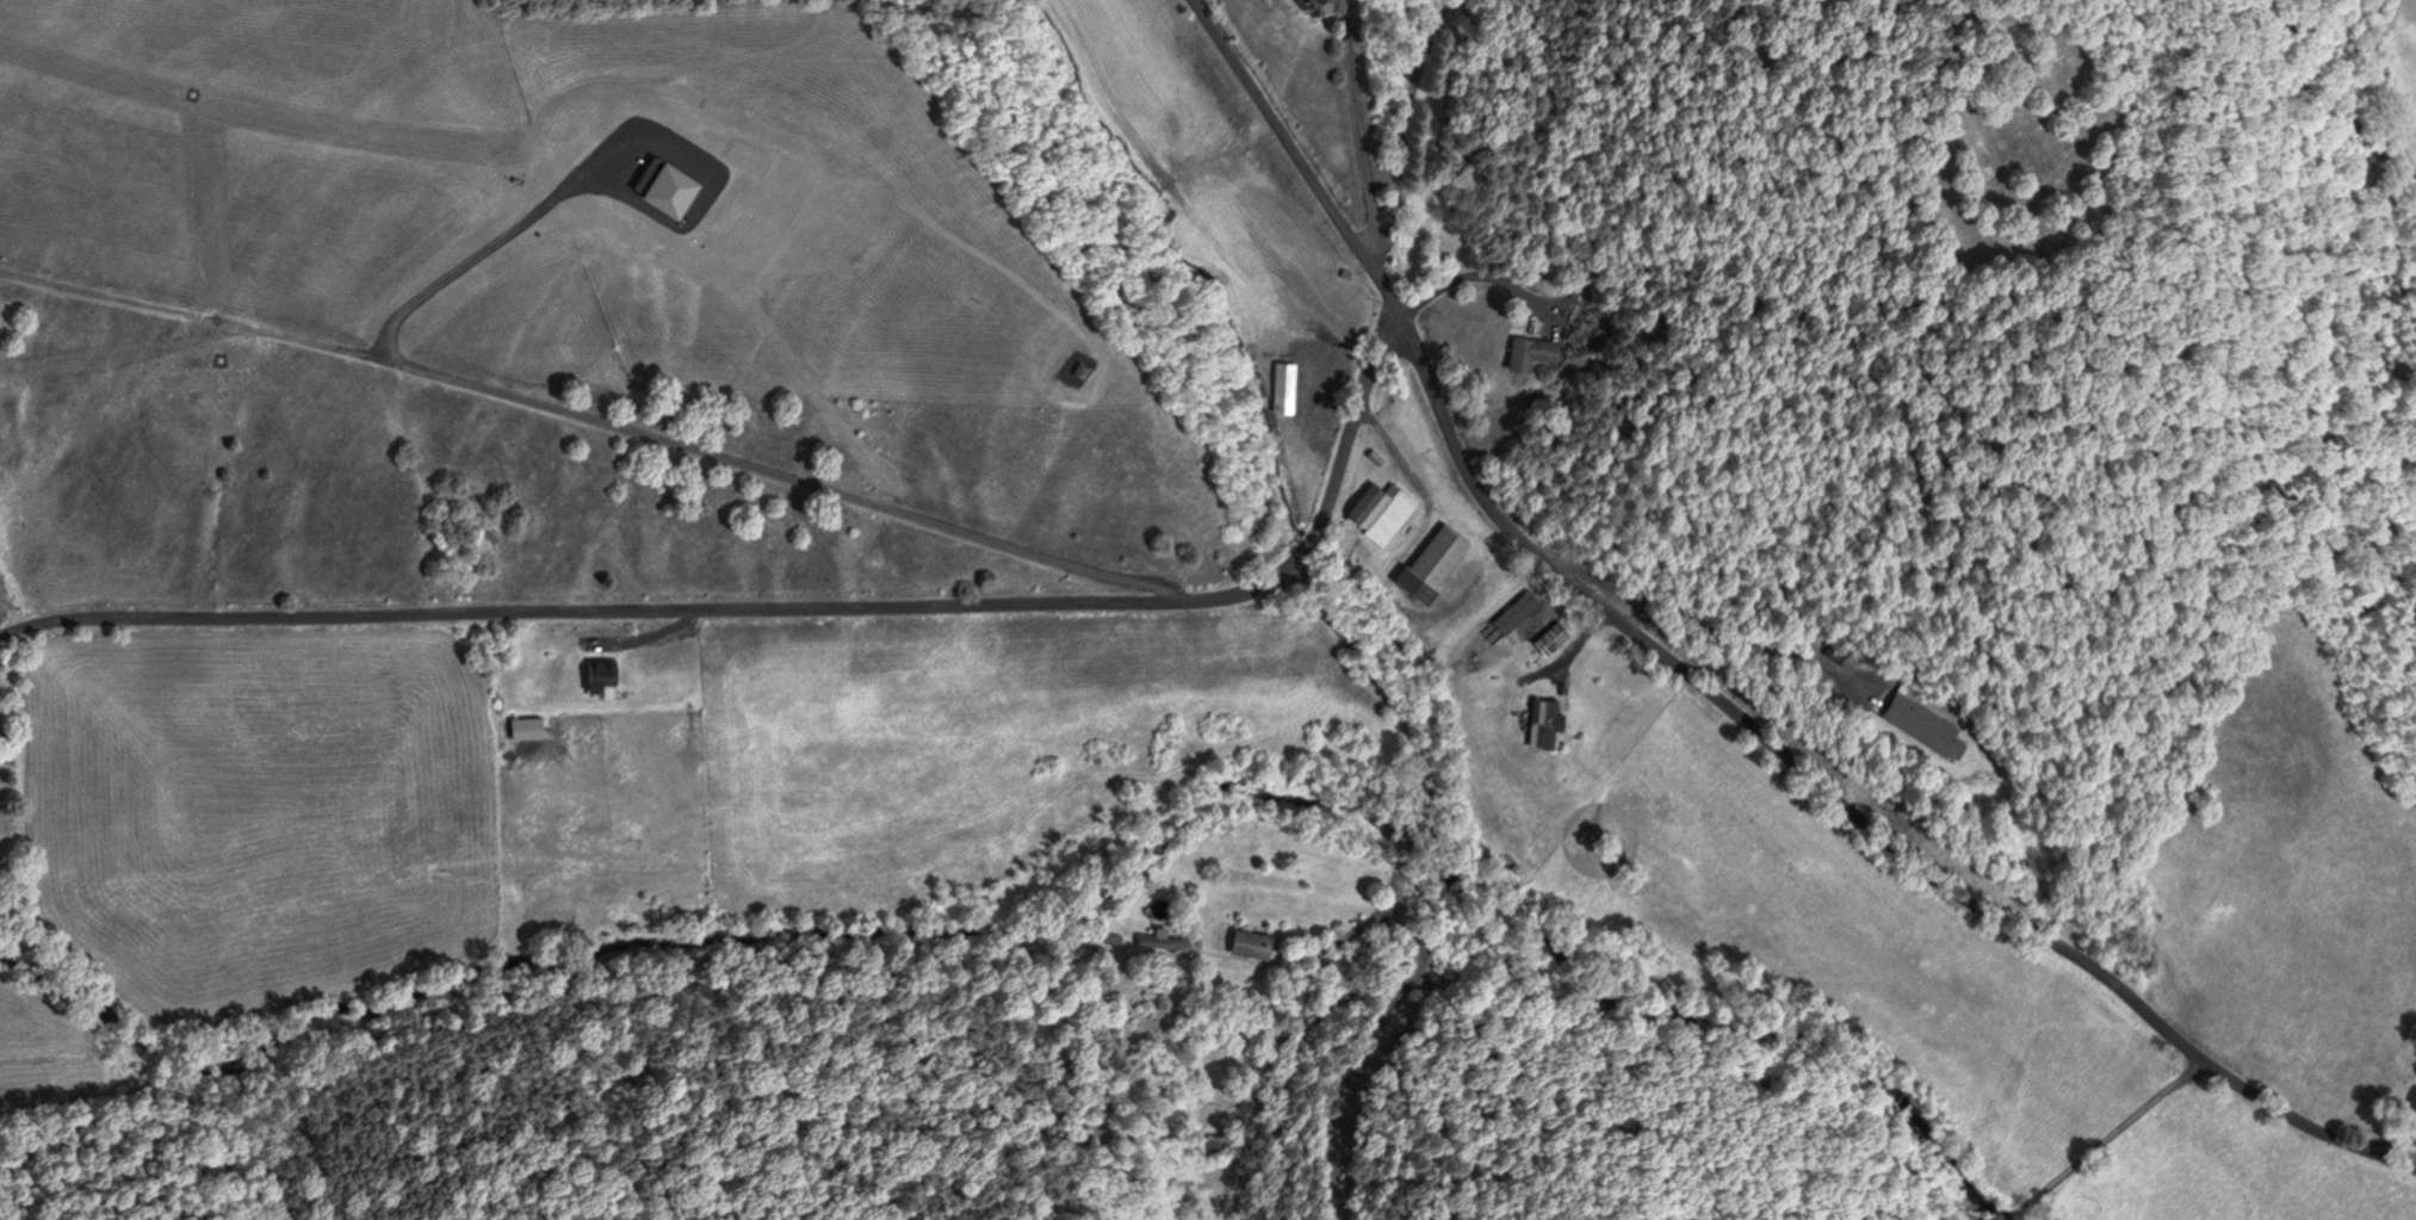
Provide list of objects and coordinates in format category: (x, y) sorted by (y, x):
road: (1356, 126)
road: (1294, 155)
road: (1481, 275)
building: (1576, 291)
building: (1529, 352)
building: (1281, 386)
building: (1376, 510)
building: (1426, 561)
road: (791, 605)
building: (1511, 611)
road: (1708, 621)
road: (0, 632)
road: (646, 634)
building: (1545, 637)
building: (593, 670)
building: (1537, 719)
building: (1918, 724)
building: (529, 726)
road: (1751, 726)
building: (1160, 940)
building: (1245, 942)
building: (2411, 1097)
road: (2304, 1121)
building: (1220, 1144)

